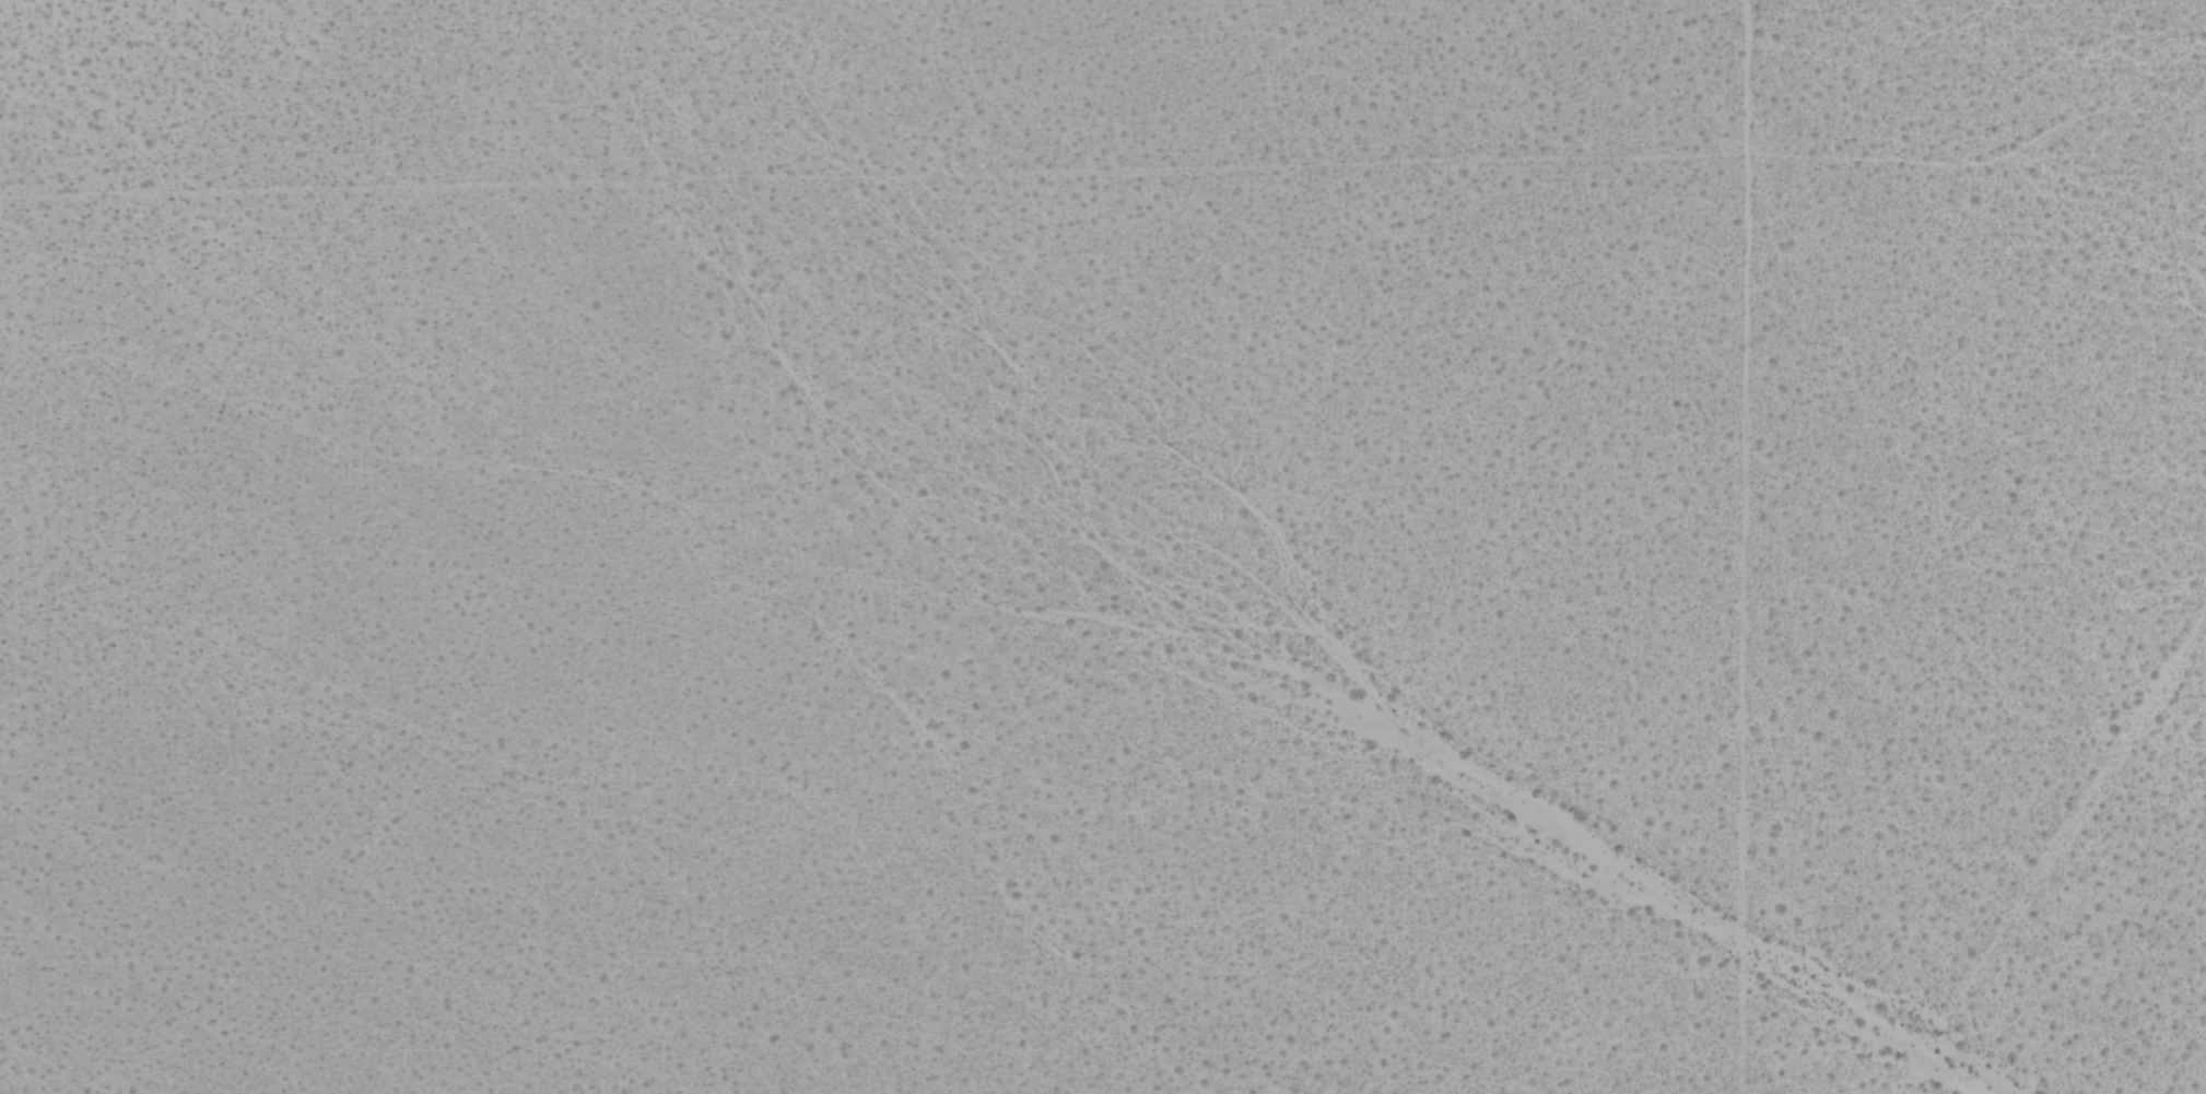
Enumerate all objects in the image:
road: (1738, 546)

